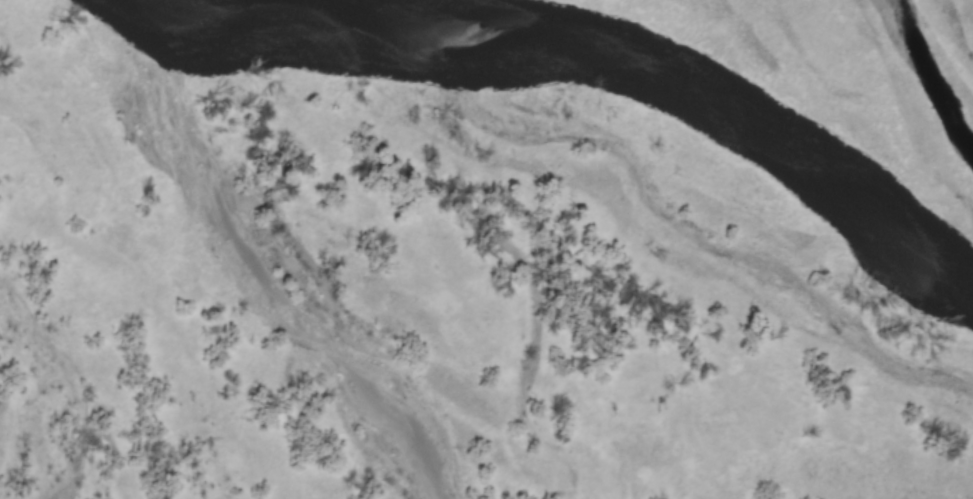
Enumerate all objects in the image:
river: (583, 56)

